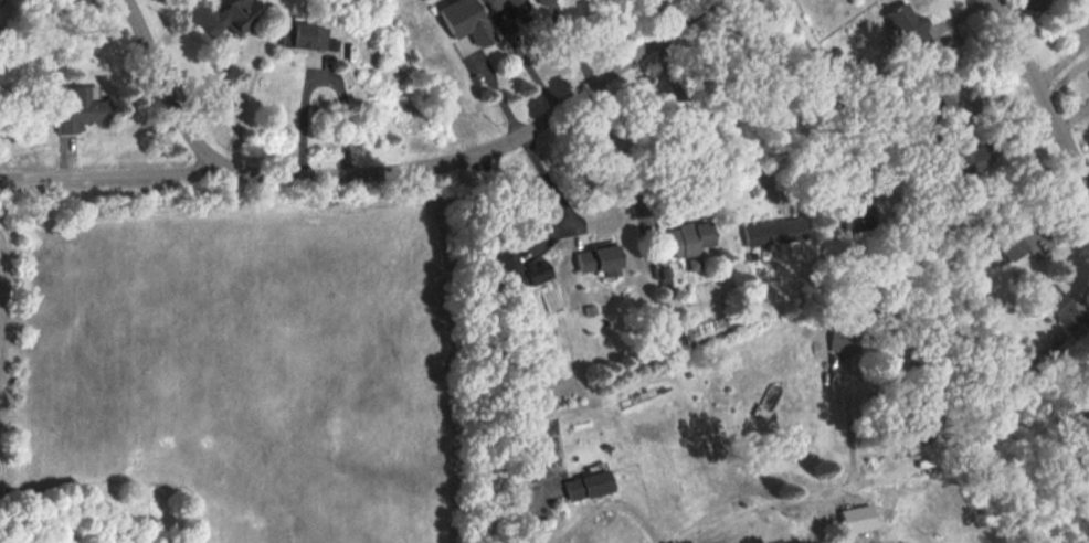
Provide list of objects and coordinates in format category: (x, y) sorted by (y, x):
building: (540, 0)
building: (508, 4)
building: (226, 15)
building: (464, 20)
building: (909, 26)
building: (306, 35)
road: (321, 75)
road: (1065, 81)
road: (162, 84)
road: (829, 86)
building: (947, 88)
road: (1038, 95)
building: (80, 108)
road: (715, 115)
building: (947, 128)
road: (614, 145)
road: (378, 172)
road: (550, 183)
road: (512, 200)
building: (858, 216)
building: (773, 231)
building: (686, 239)
building: (1005, 241)
building: (596, 257)
building: (520, 271)
building: (1059, 306)
building: (844, 337)
building: (1087, 355)
building: (906, 434)
building: (585, 486)
road: (808, 492)
road: (611, 499)
road: (501, 514)
building: (856, 519)
road: (709, 532)
road: (778, 541)

